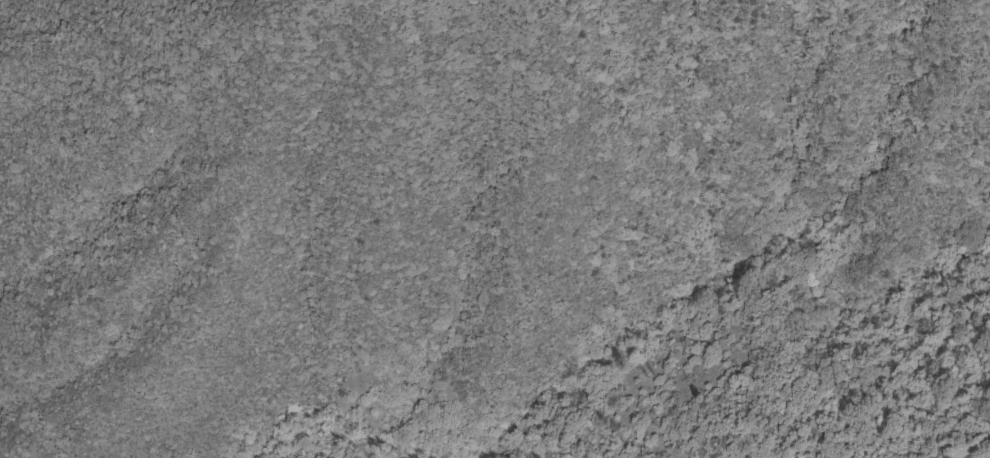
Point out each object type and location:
road: (48, 390)
road: (979, 454)

